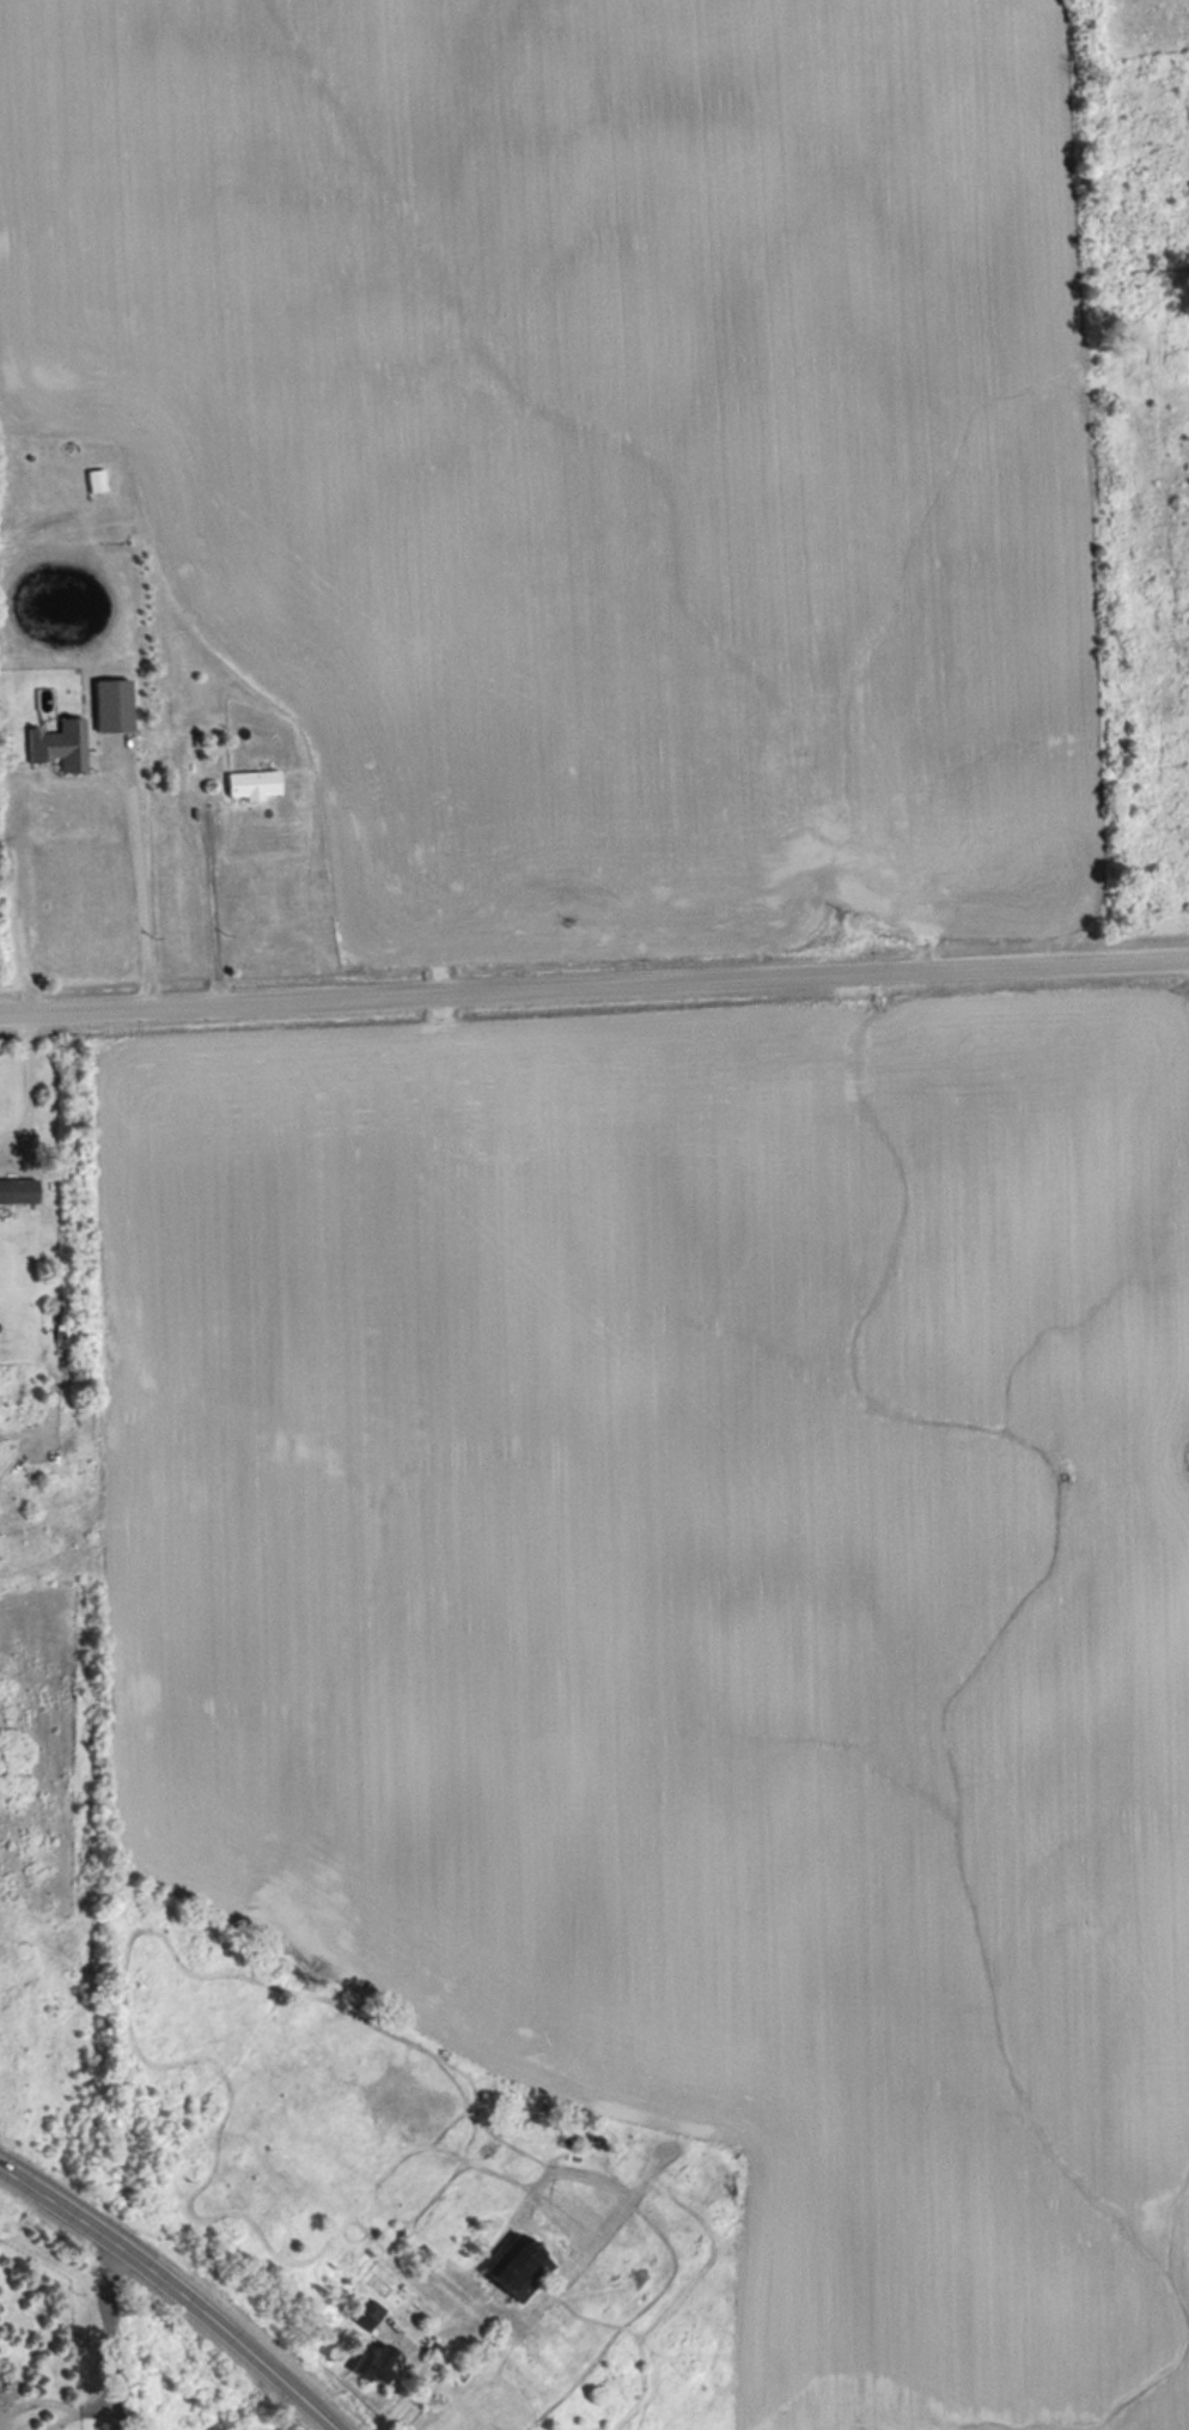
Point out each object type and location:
building: (96, 479)
building: (61, 745)
building: (255, 780)
road: (138, 875)
road: (593, 985)
building: (18, 1189)
building: (522, 2267)
road: (175, 2292)
building: (370, 2314)
building: (378, 2363)

